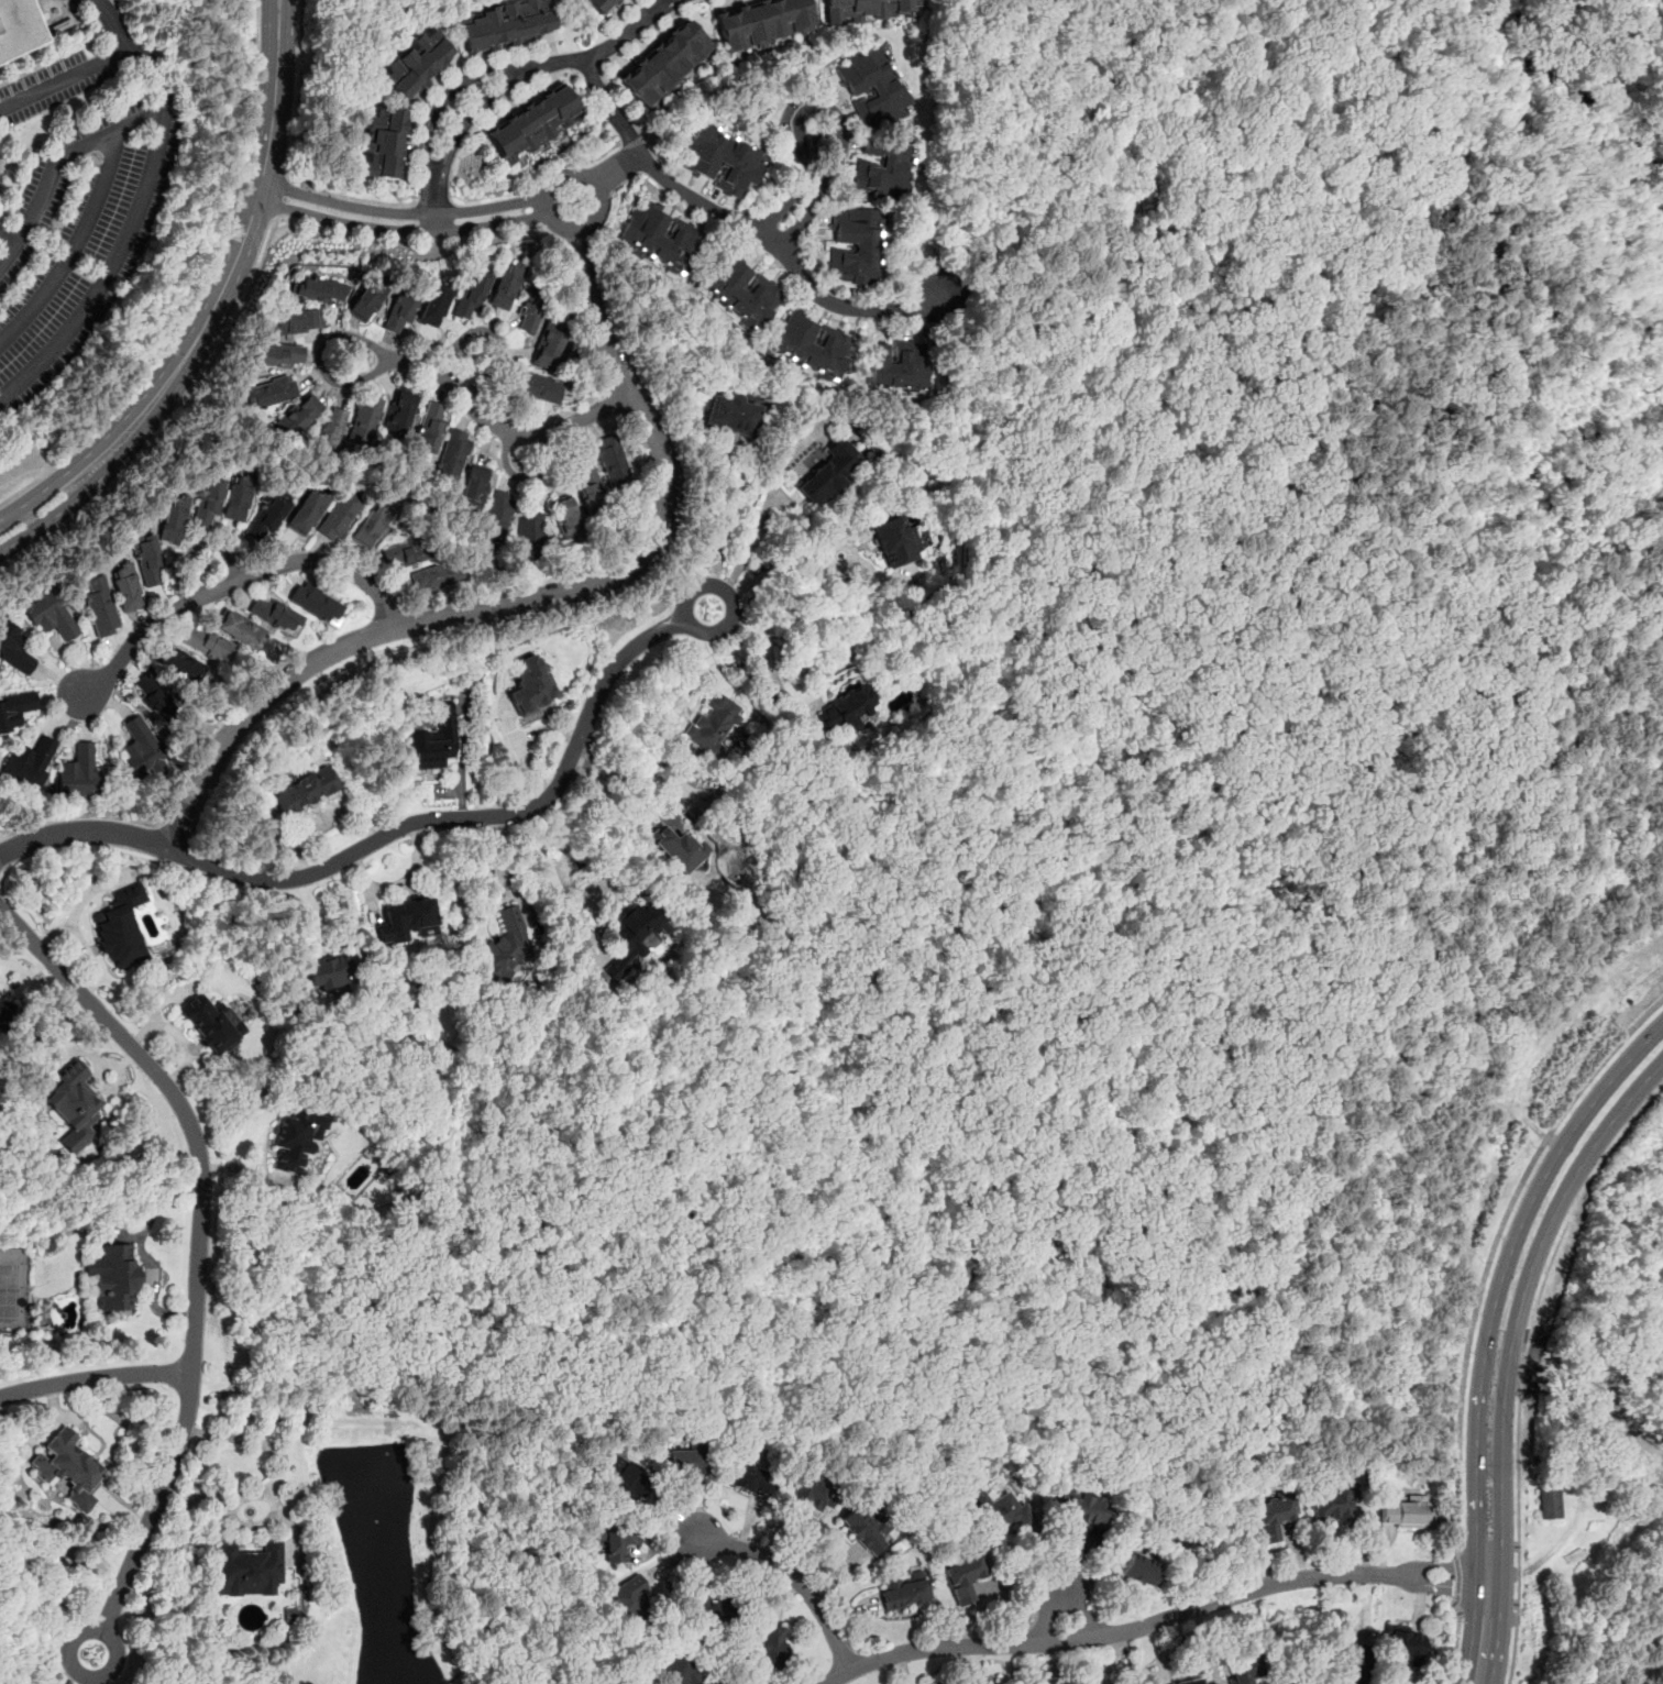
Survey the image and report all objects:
building: (597, 5)
building: (868, 9)
road: (274, 20)
road: (282, 20)
road: (256, 21)
building: (761, 22)
road: (111, 23)
building: (502, 23)
road: (244, 24)
building: (16, 27)
building: (414, 63)
building: (664, 64)
road: (1409, 64)
road: (505, 74)
road: (297, 88)
building: (873, 89)
building: (532, 125)
building: (381, 143)
building: (724, 161)
road: (55, 162)
road: (617, 168)
building: (882, 170)
road: (154, 172)
road: (812, 184)
road: (280, 196)
road: (1509, 203)
road: (544, 208)
parking lot: (78, 209)
road: (251, 217)
road: (400, 219)
road: (744, 223)
road: (9, 238)
building: (662, 242)
road: (76, 246)
building: (856, 247)
building: (505, 284)
building: (320, 290)
building: (741, 293)
road: (1571, 293)
building: (470, 294)
building: (366, 301)
road: (1648, 304)
building: (434, 305)
road: (189, 307)
building: (530, 310)
building: (398, 312)
building: (294, 322)
road: (496, 334)
building: (551, 343)
building: (811, 346)
building: (278, 355)
building: (897, 366)
building: (532, 386)
building: (273, 393)
building: (398, 414)
building: (299, 416)
building: (731, 416)
road: (485, 417)
building: (363, 419)
road: (174, 421)
building: (429, 429)
building: (328, 433)
road: (90, 454)
building: (452, 456)
building: (612, 461)
building: (828, 473)
road: (99, 477)
road: (527, 477)
building: (590, 487)
building: (473, 488)
building: (238, 498)
building: (207, 504)
building: (307, 514)
building: (498, 514)
building: (268, 516)
building: (173, 517)
building: (339, 518)
building: (566, 519)
building: (372, 528)
road: (720, 533)
building: (530, 539)
building: (894, 541)
road: (200, 544)
road: (746, 549)
building: (405, 554)
building: (147, 561)
road: (771, 573)
building: (437, 577)
road: (234, 582)
building: (126, 588)
road: (533, 596)
building: (316, 604)
building: (99, 605)
building: (49, 615)
building: (274, 615)
road: (1589, 615)
building: (240, 630)
building: (208, 645)
building: (14, 646)
road: (768, 648)
building: (176, 663)
building: (532, 685)
building: (153, 696)
road: (1518, 696)
building: (846, 708)
building: (15, 709)
building: (713, 723)
building: (434, 740)
road: (520, 740)
building: (142, 749)
road: (462, 760)
building: (29, 761)
building: (79, 770)
road: (634, 771)
building: (305, 788)
road: (322, 817)
road: (395, 829)
building: (678, 847)
road: (504, 871)
road: (398, 881)
road: (552, 881)
road: (1141, 896)
road: (76, 910)
building: (407, 921)
building: (121, 928)
building: (634, 936)
building: (505, 946)
road: (93, 960)
building: (329, 970)
building: (4, 1012)
building: (212, 1023)
road: (180, 1035)
building: (73, 1105)
building: (298, 1141)
road: (141, 1248)
road: (1493, 1251)
road: (198, 1253)
building: (115, 1276)
road: (1501, 1276)
park: (13, 1289)
road: (1540, 1297)
road: (1522, 1298)
road: (95, 1378)
road: (273, 1449)
building: (686, 1457)
building: (66, 1467)
building: (749, 1478)
building: (628, 1486)
building: (812, 1489)
building: (1549, 1503)
building: (1331, 1505)
building: (1075, 1508)
building: (999, 1510)
building: (1406, 1512)
building: (1271, 1515)
building: (866, 1527)
building: (616, 1541)
road: (1487, 1544)
building: (247, 1569)
building: (1139, 1570)
road: (790, 1573)
building: (963, 1574)
road: (1454, 1580)
road: (1061, 1584)
building: (903, 1591)
building: (630, 1596)
road: (1487, 1607)
building: (709, 1609)
road: (1516, 1615)
road: (1156, 1621)
road: (1485, 1630)
building: (1405, 1643)
road: (1454, 1643)
building: (770, 1648)
building: (1351, 1661)
road: (75, 1668)
building: (679, 1668)
building: (1242, 1668)
building: (1191, 1681)

